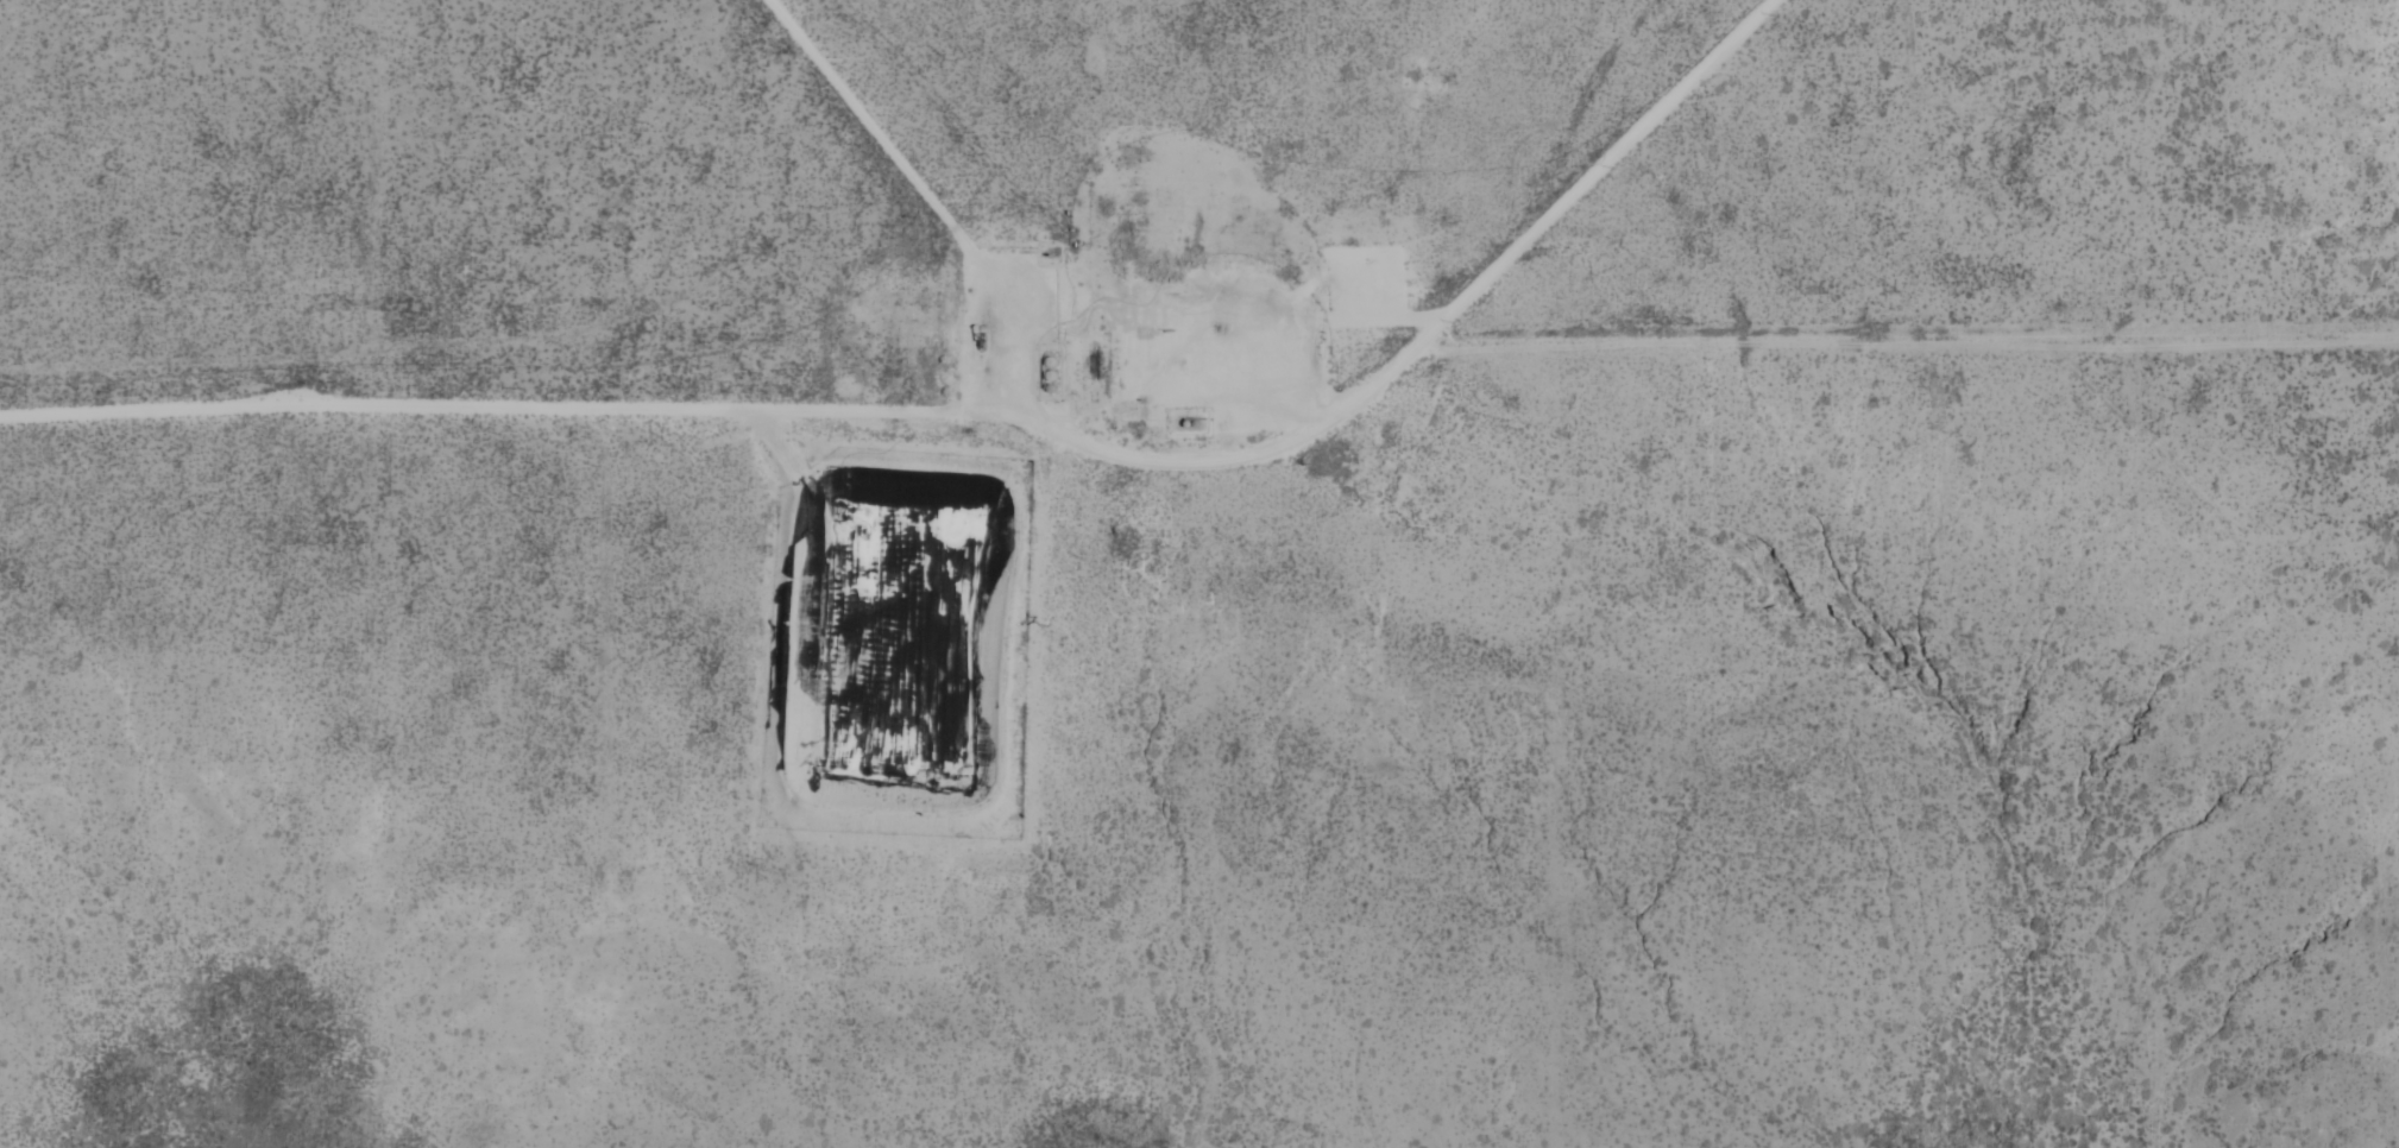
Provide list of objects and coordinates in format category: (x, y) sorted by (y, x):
road: (971, 410)

